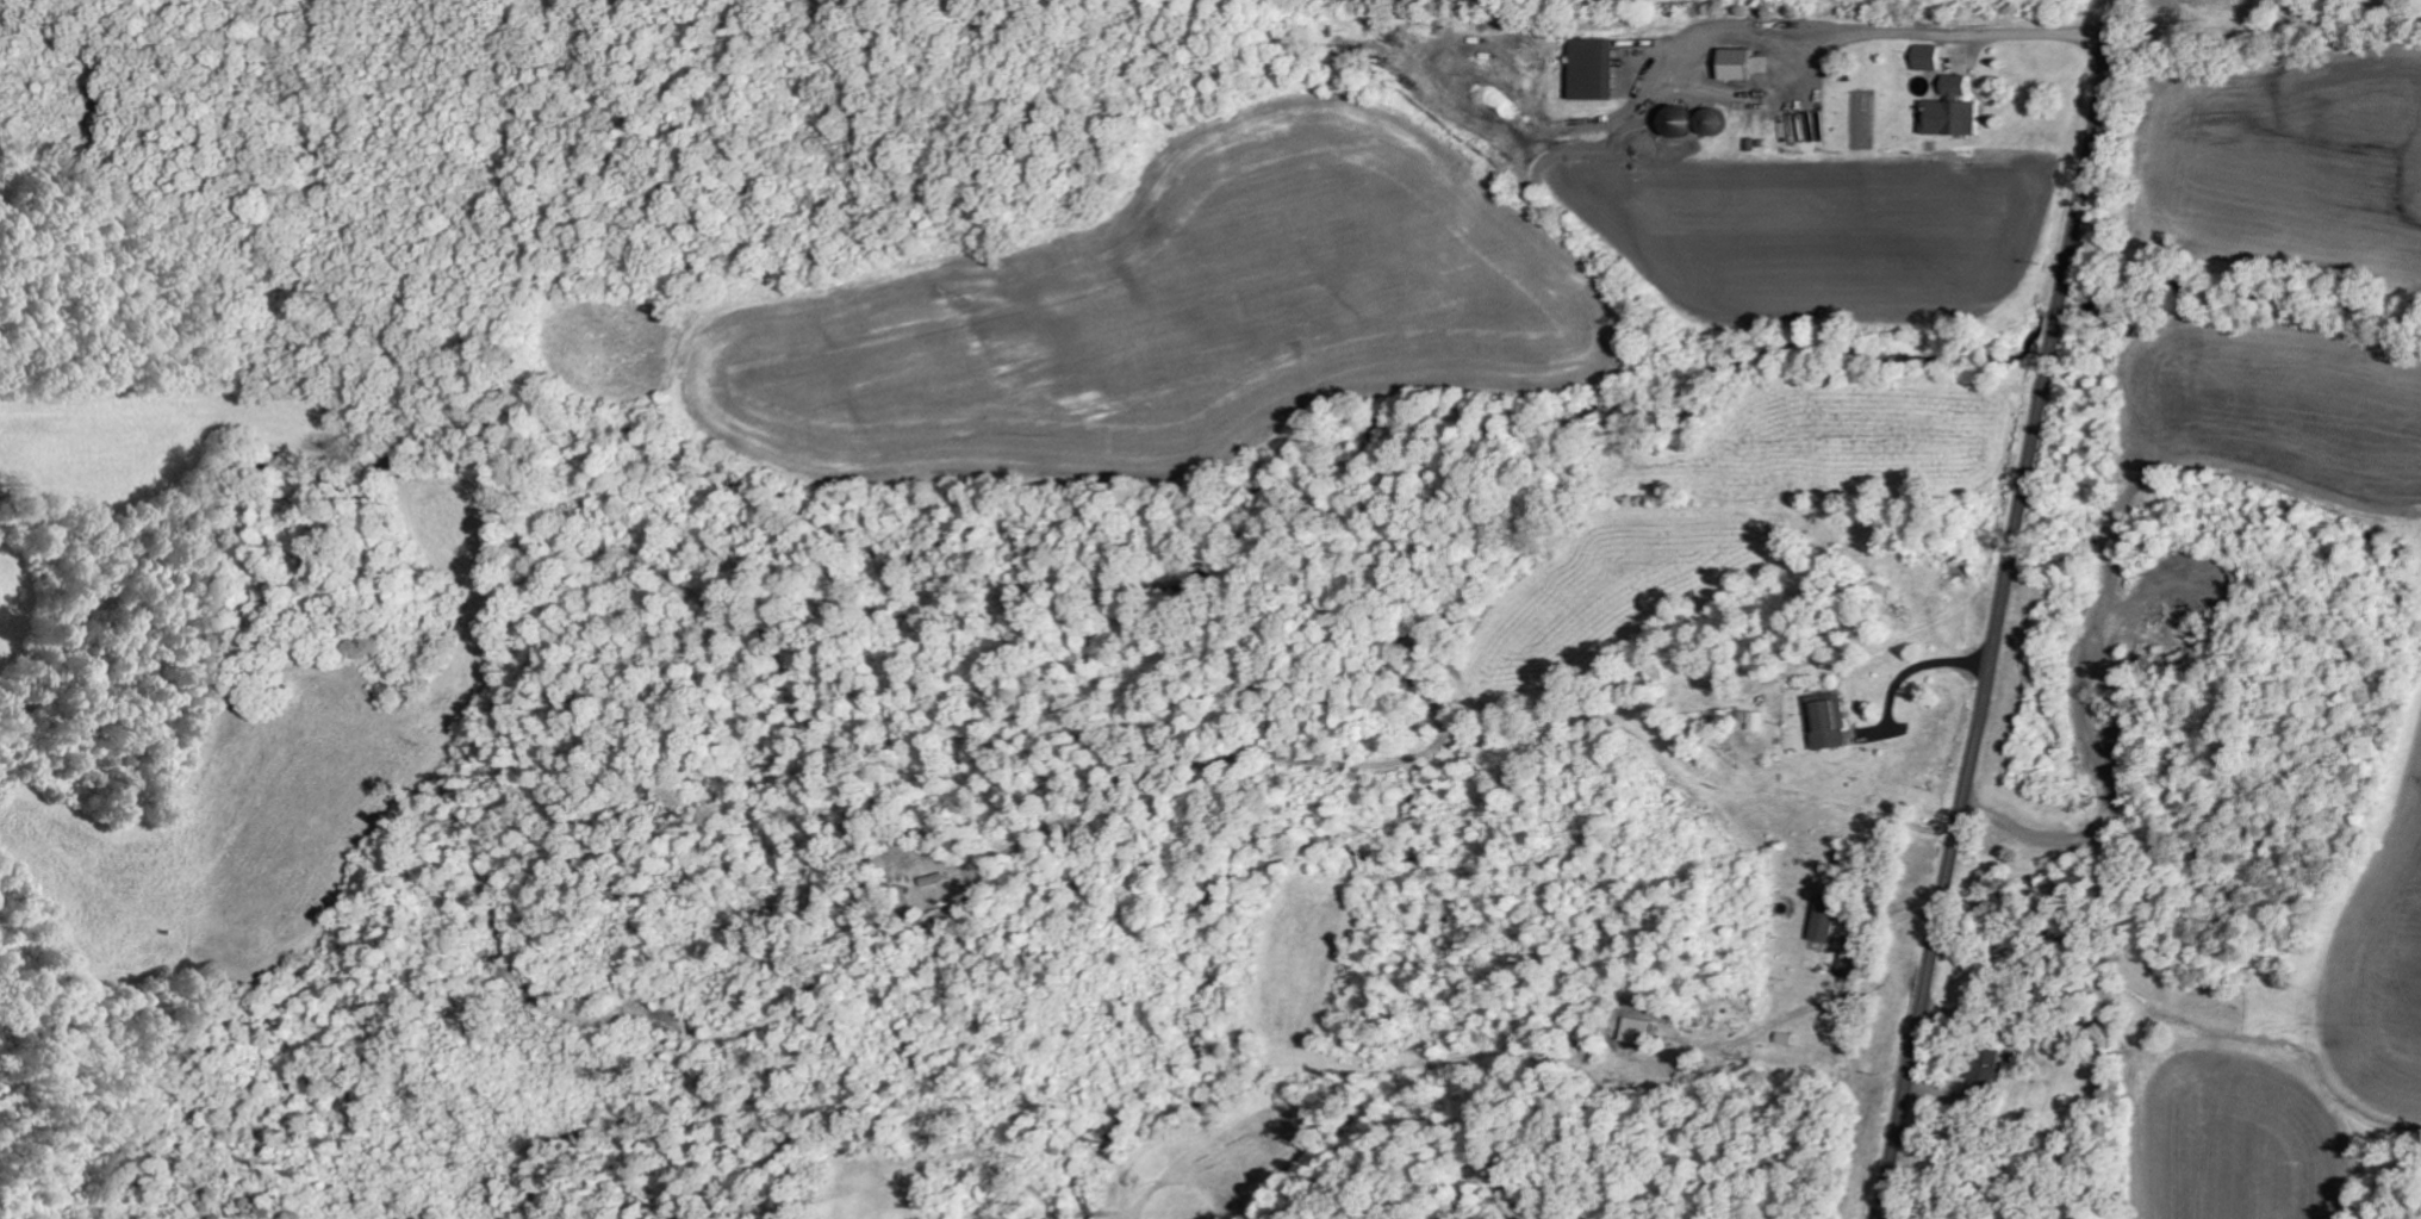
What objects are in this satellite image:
building: (1930, 57)
building: (1748, 62)
building: (1961, 85)
building: (1954, 117)
building: (1700, 119)
road: (2158, 421)
road: (1999, 608)
building: (1831, 721)
building: (1831, 918)
building: (1853, 964)
building: (1639, 1035)
building: (1993, 1072)

